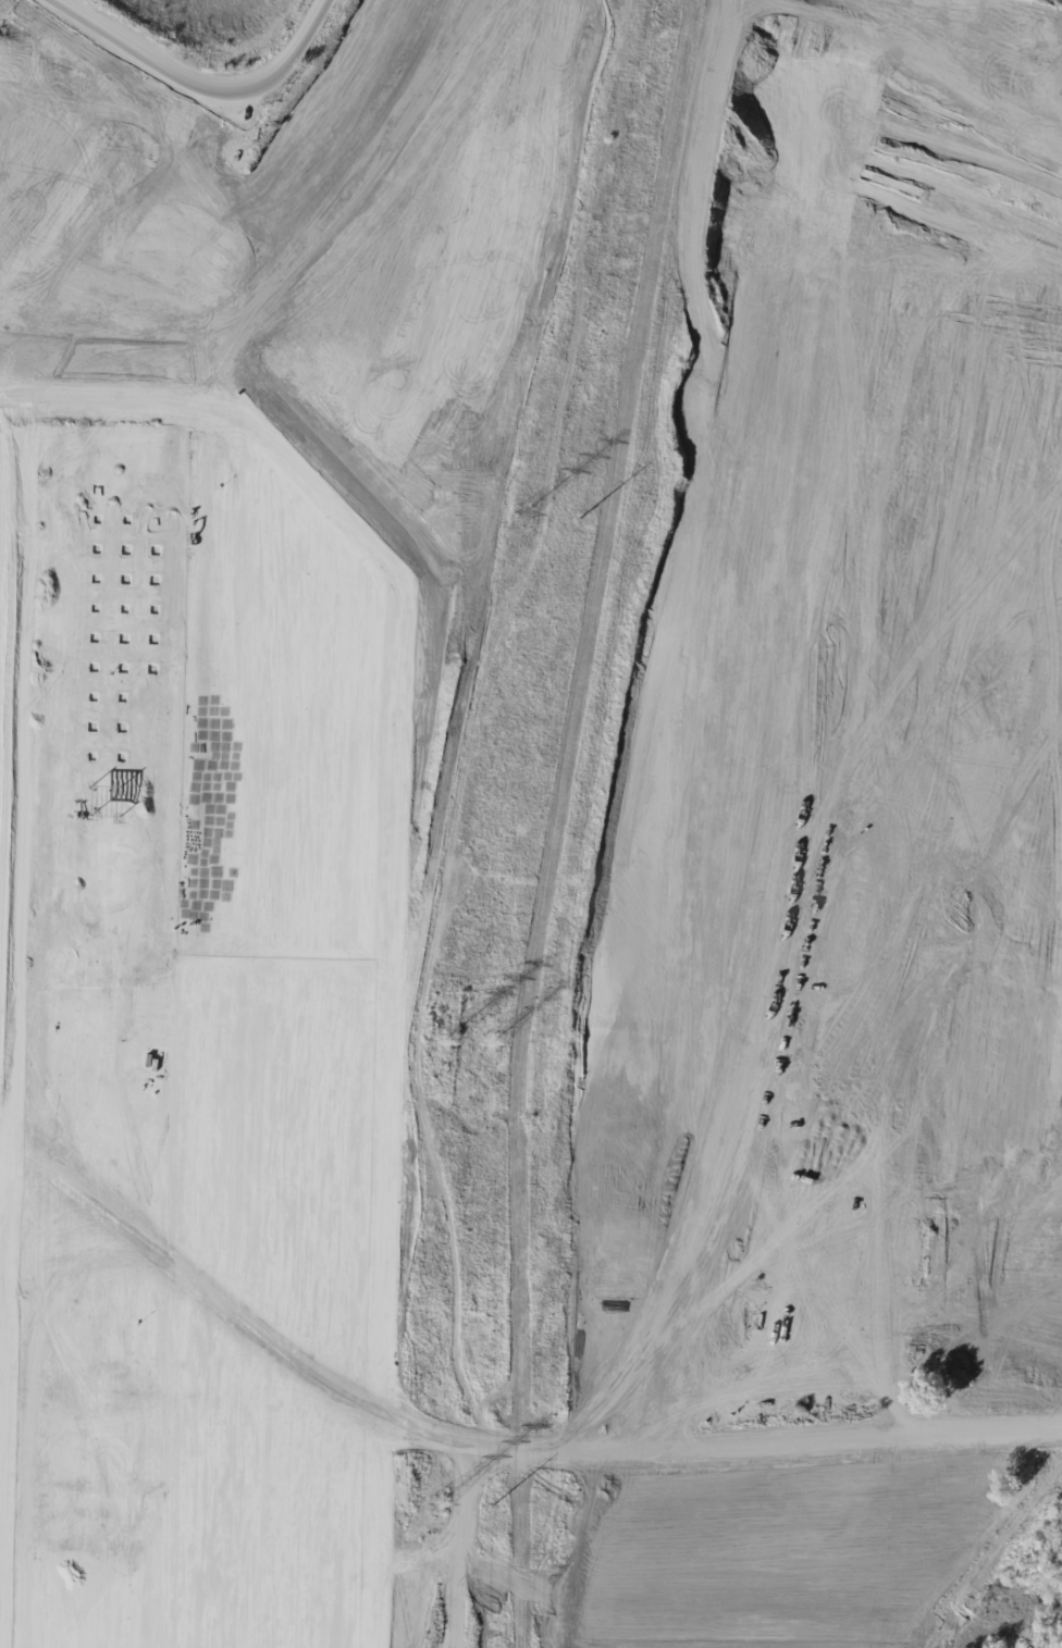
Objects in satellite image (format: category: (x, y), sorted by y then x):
road: (313, 45)
road: (178, 48)
road: (433, 100)
road: (826, 110)
road: (293, 115)
road: (822, 140)
road: (788, 156)
road: (814, 156)
road: (530, 165)
road: (34, 183)
road: (1024, 184)
road: (799, 188)
road: (571, 194)
road: (824, 194)
road: (72, 196)
road: (244, 201)
road: (110, 208)
road: (171, 224)
road: (139, 235)
road: (247, 239)
road: (69, 272)
road: (320, 278)
road: (563, 290)
road: (901, 296)
road: (424, 325)
road: (334, 345)
road: (817, 363)
road: (415, 368)
road: (361, 409)
road: (1001, 443)
road: (791, 470)
road: (830, 471)
road: (867, 472)
power tower: (522, 515)
power tower: (578, 521)
road: (701, 528)
road: (819, 536)
road: (752, 554)
road: (907, 572)
road: (709, 640)
road: (477, 641)
road: (437, 643)
road: (935, 706)
road: (998, 709)
road: (974, 710)
road: (1011, 711)
road: (1048, 711)
road: (800, 747)
road: (775, 788)
road: (394, 800)
road: (433, 801)
road: (770, 828)
road: (767, 866)
road: (557, 873)
road: (788, 905)
road: (766, 944)
road: (430, 958)
road: (1014, 978)
road: (765, 988)
road: (885, 990)
road: (388, 1023)
road: (764, 1027)
building: (183, 1044)
road: (643, 1044)
power tower: (441, 1045)
power tower: (489, 1045)
road: (785, 1065)
road: (427, 1090)
road: (762, 1104)
road: (761, 1149)
road: (760, 1189)
road: (758, 1228)
road: (1011, 1239)
road: (760, 1265)
road: (462, 1269)
road: (422, 1271)
road: (420, 1279)
road: (382, 1291)
road: (757, 1297)
road: (572, 1453)
power tower: (437, 1507)
power tower: (493, 1507)
road: (417, 1539)

